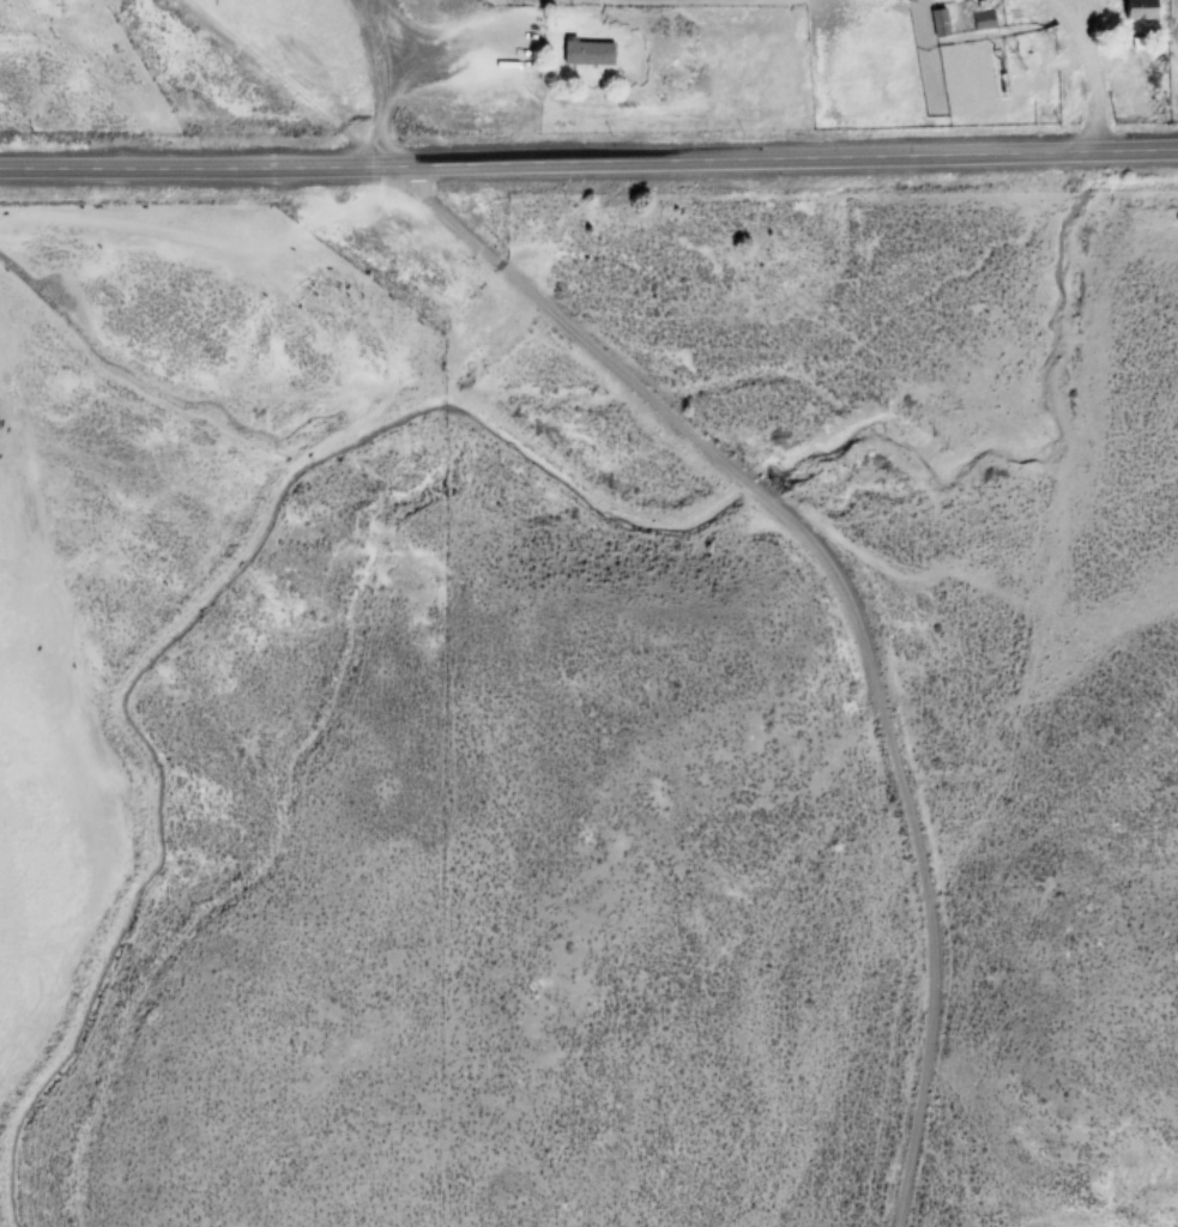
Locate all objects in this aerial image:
building: (1142, 10)
building: (984, 22)
building: (941, 24)
building: (593, 53)
road: (288, 80)
road: (793, 156)
road: (204, 165)
road: (850, 609)

